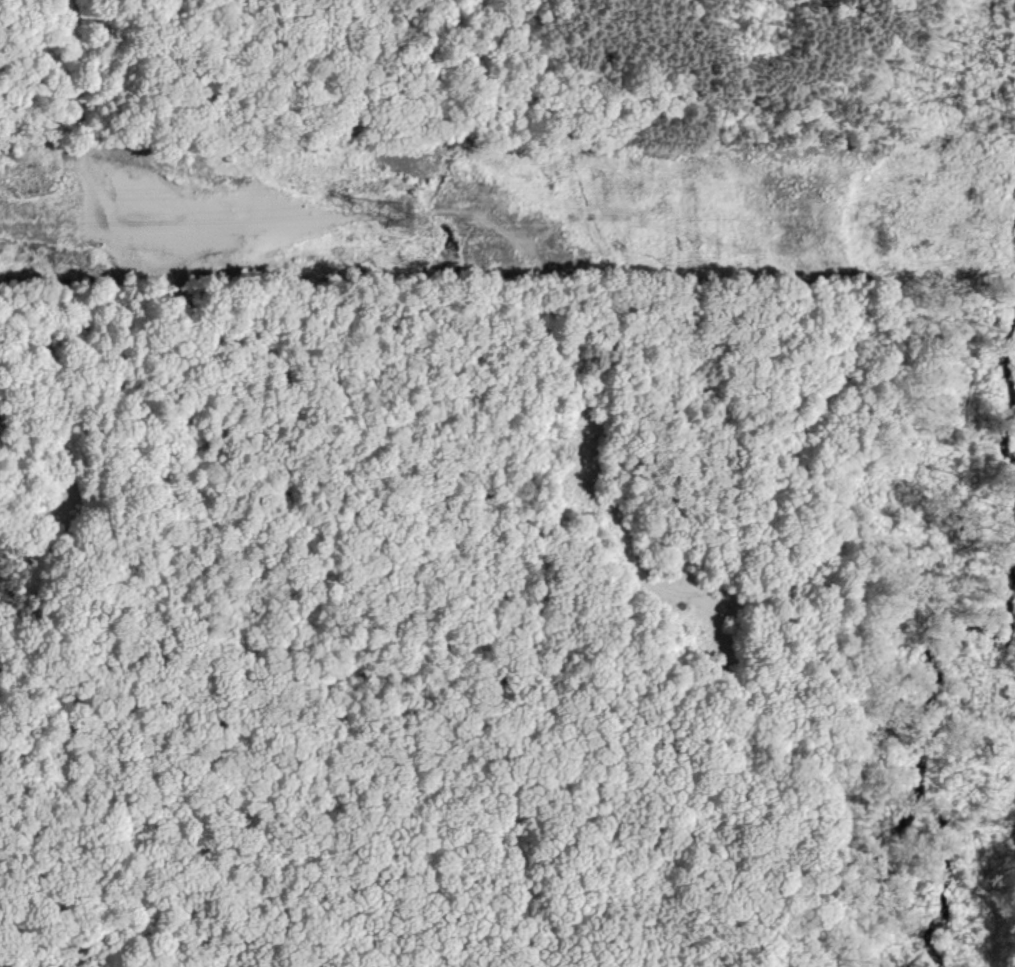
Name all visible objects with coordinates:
power tower: (398, 211)

